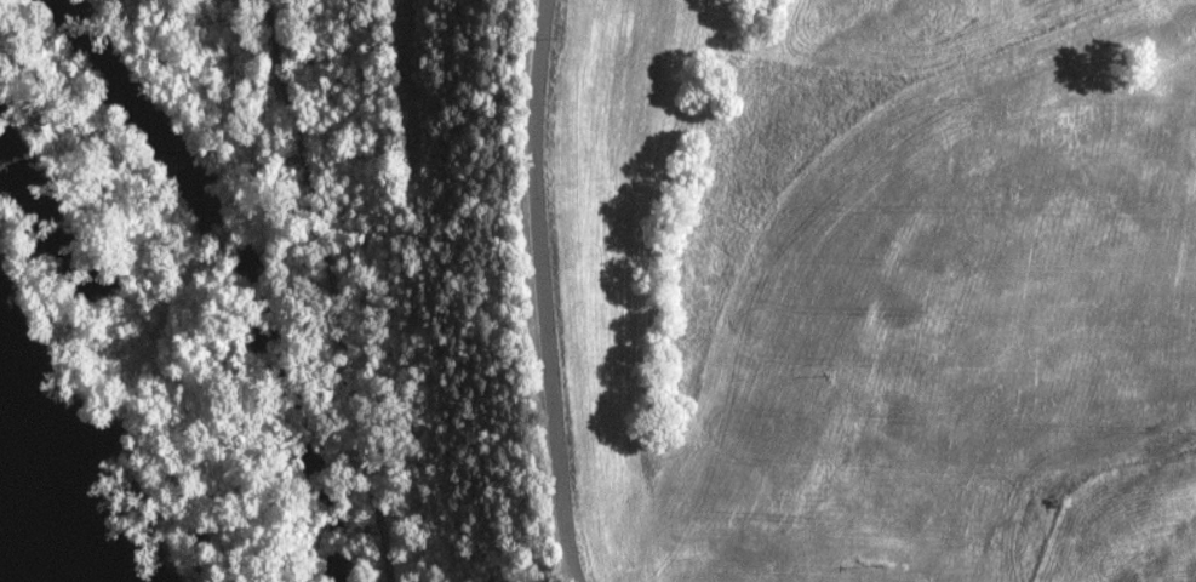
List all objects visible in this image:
road: (242, 218)
road: (549, 291)

